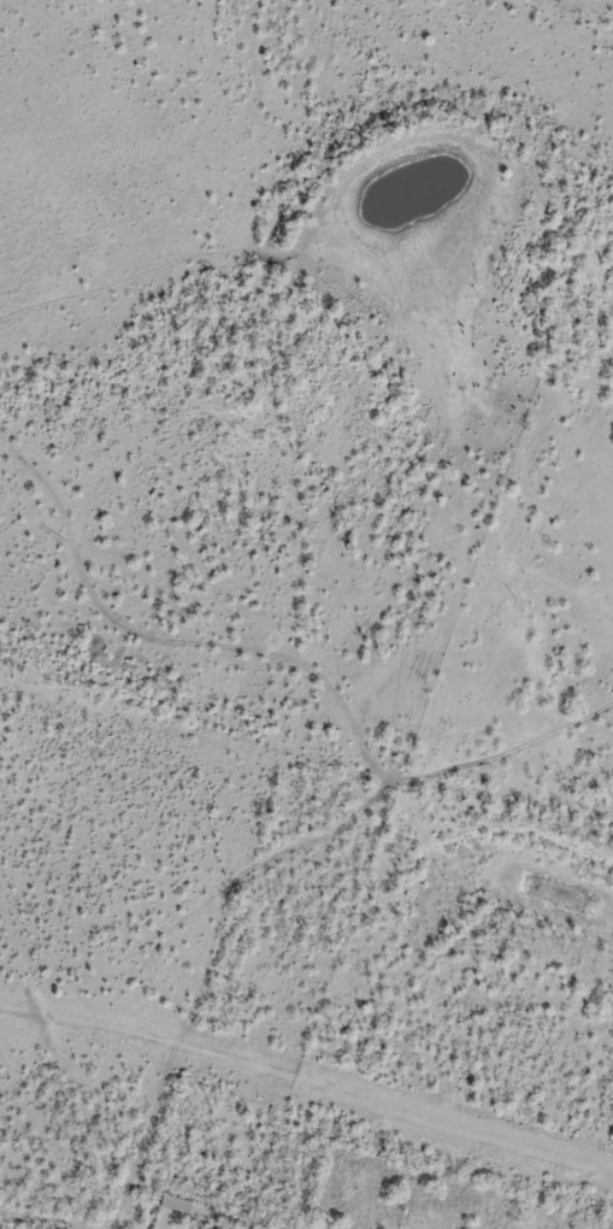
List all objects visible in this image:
building: (175, 1206)

